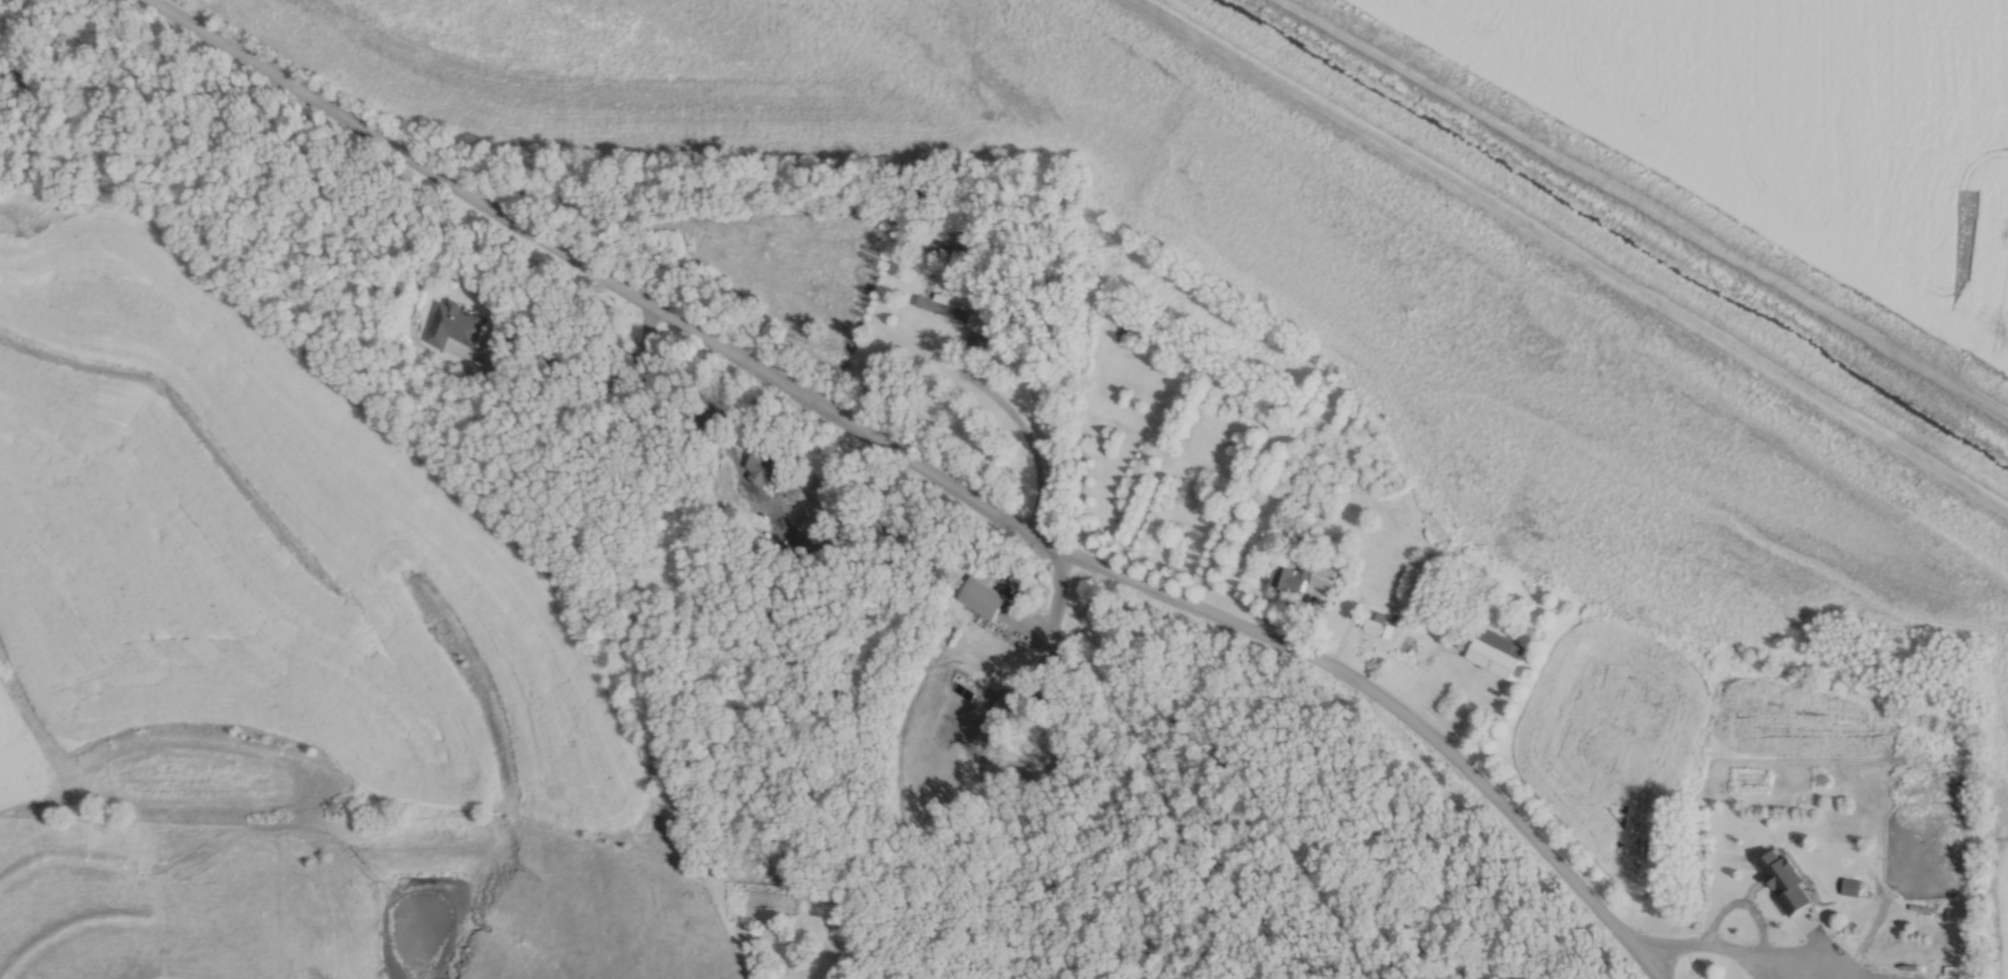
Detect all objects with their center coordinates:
building: (0, 63)
building: (950, 243)
building: (942, 303)
building: (447, 323)
road: (636, 402)
road: (1017, 426)
building: (755, 464)
road: (913, 475)
building: (786, 510)
building: (1294, 570)
building: (982, 595)
road: (1386, 610)
building: (1370, 623)
building: (1494, 648)
building: (1786, 877)
road: (1708, 942)

